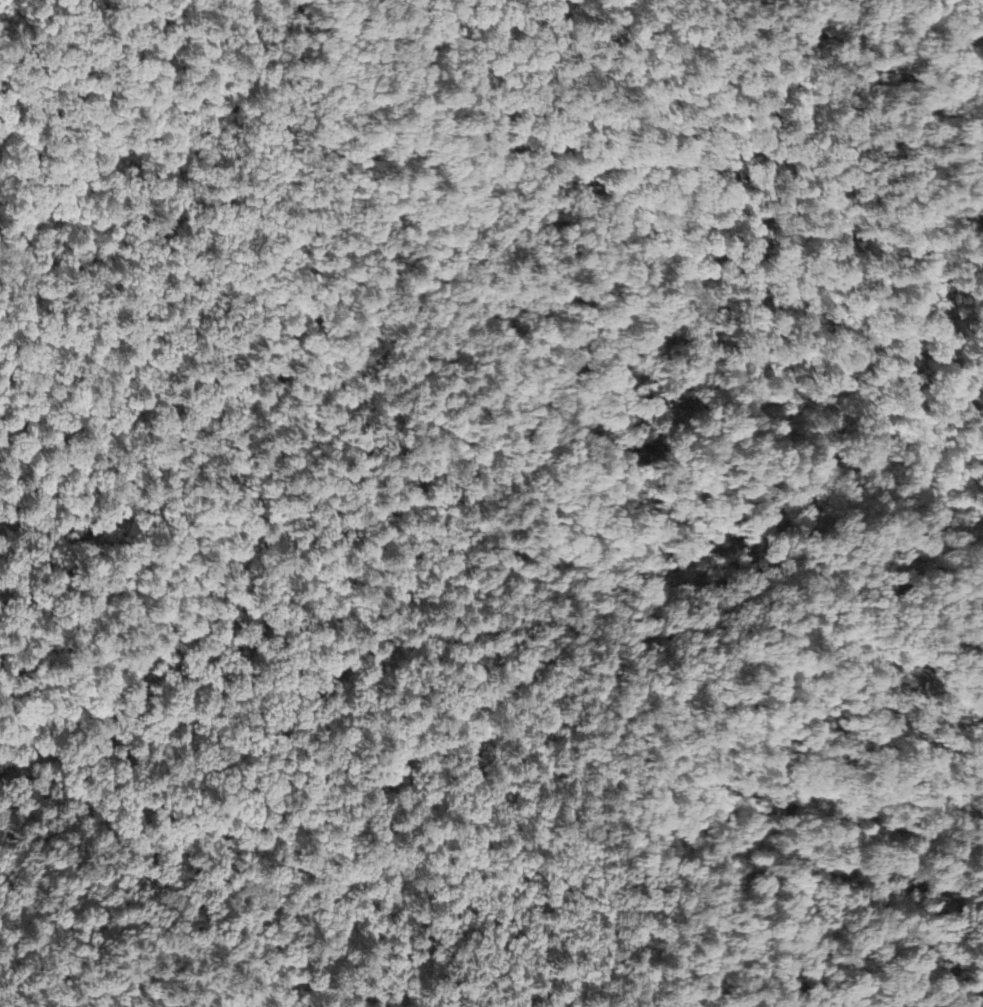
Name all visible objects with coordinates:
road: (666, 90)
road: (322, 238)

